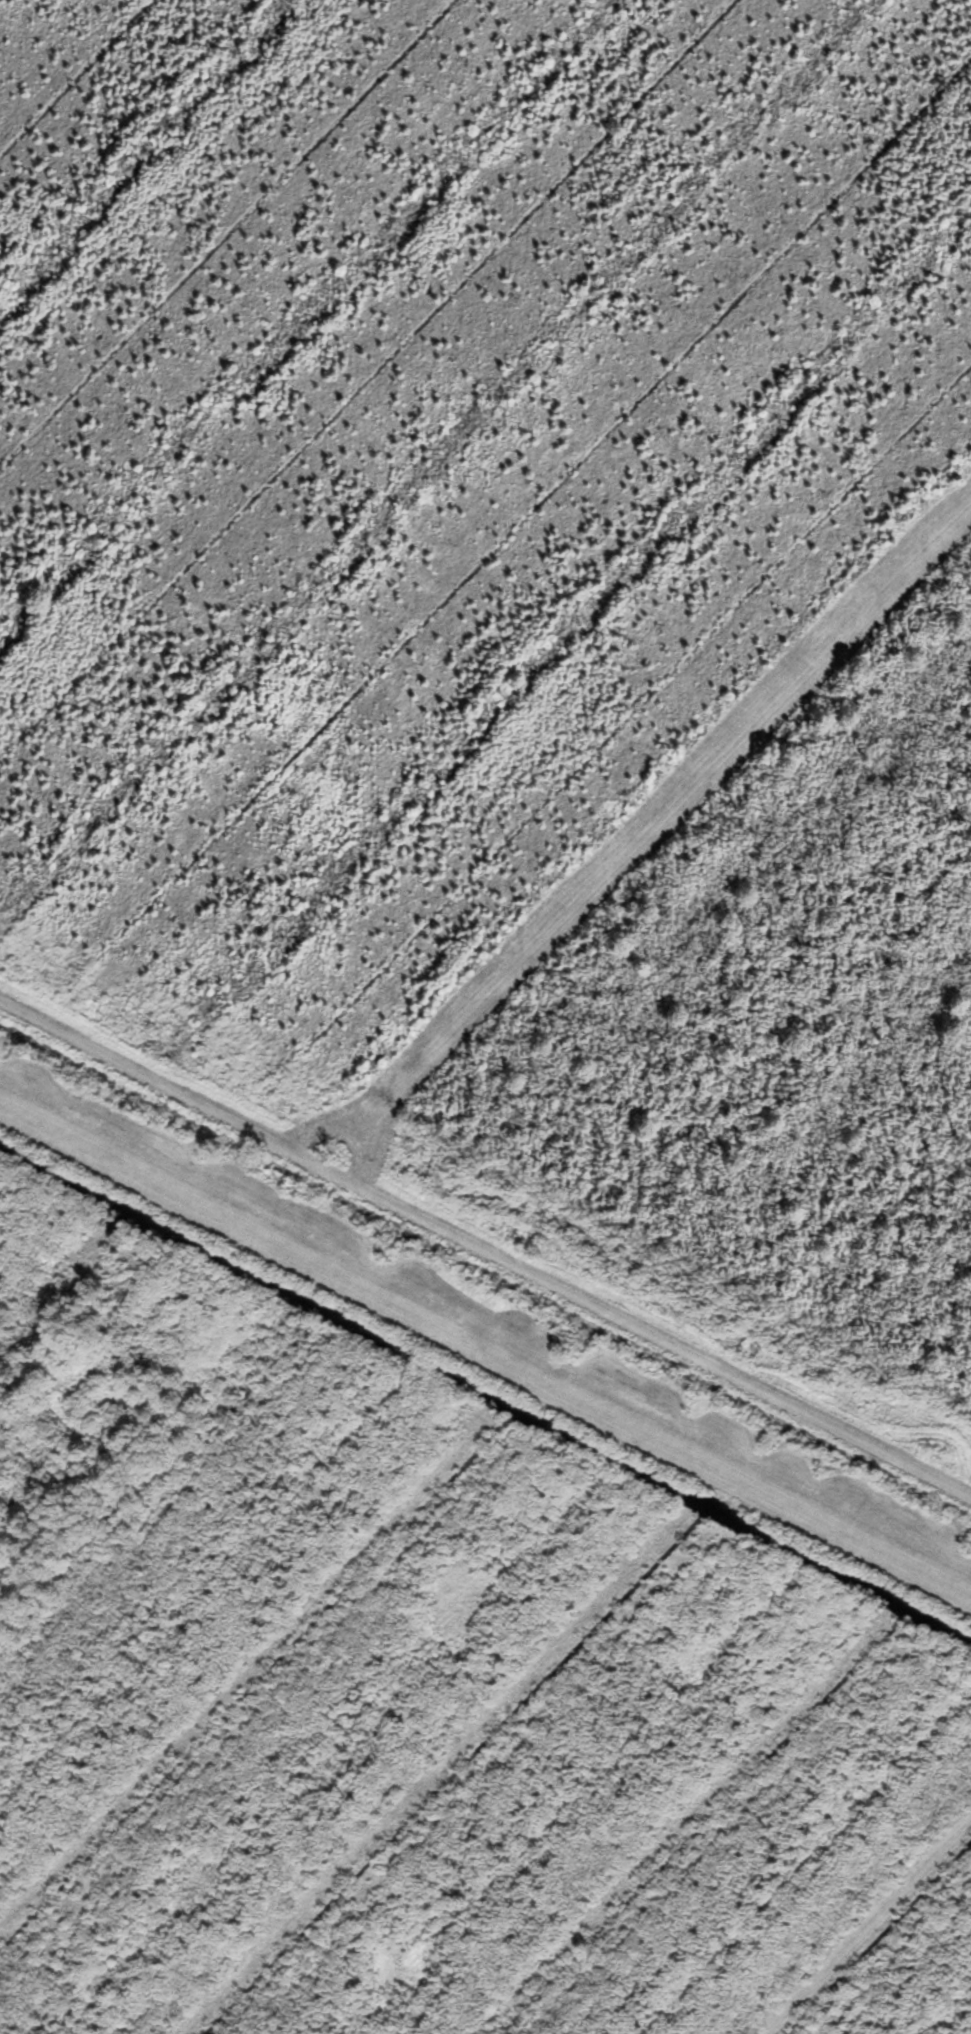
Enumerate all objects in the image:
road: (485, 1246)

